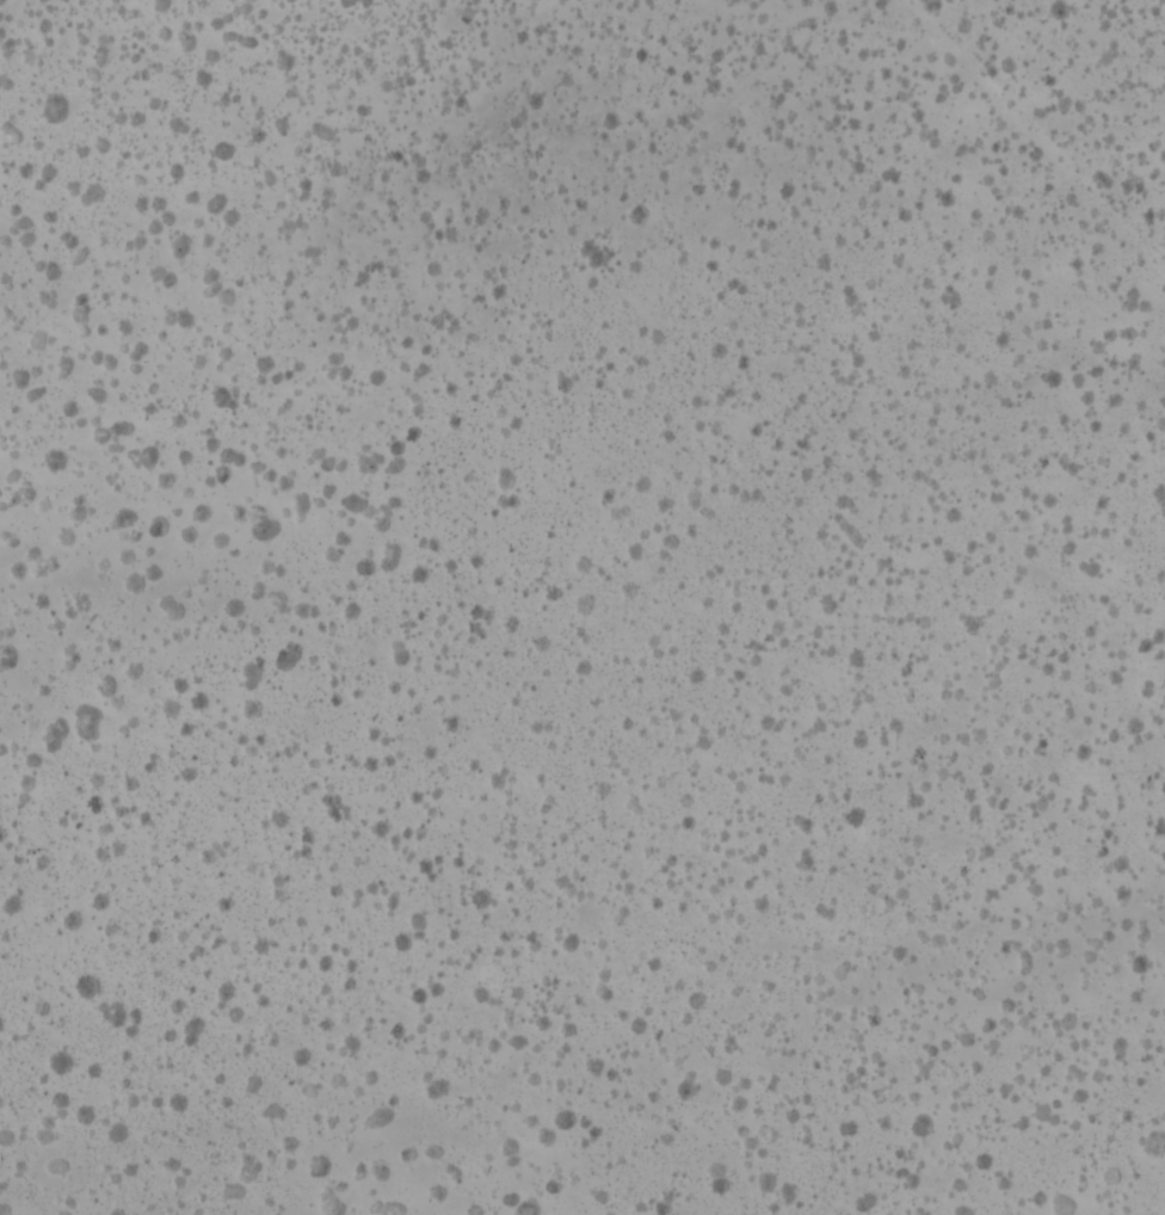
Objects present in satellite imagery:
road: (1034, 138)

